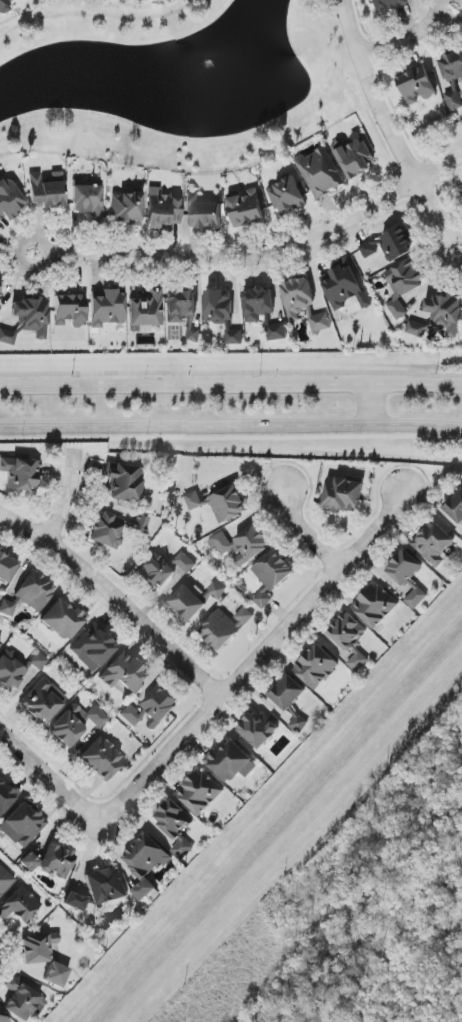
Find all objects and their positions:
building: (389, 5)
building: (3, 7)
road: (100, 17)
road: (340, 23)
road: (362, 27)
road: (408, 38)
fountain: (208, 68)
building: (453, 79)
building: (416, 85)
road: (356, 97)
road: (388, 131)
road: (437, 155)
building: (354, 156)
road: (439, 169)
building: (320, 172)
building: (46, 191)
building: (286, 195)
building: (88, 200)
building: (9, 201)
building: (245, 207)
building: (126, 209)
building: (162, 210)
building: (202, 213)
building: (396, 244)
building: (371, 247)
road: (234, 262)
building: (403, 284)
building: (345, 286)
building: (0, 297)
building: (298, 298)
building: (107, 307)
building: (69, 310)
building: (147, 310)
building: (263, 311)
building: (445, 313)
building: (183, 314)
building: (222, 314)
building: (28, 321)
building: (320, 322)
building: (415, 328)
road: (231, 391)
road: (231, 433)
building: (21, 474)
building: (125, 483)
building: (343, 493)
road: (65, 499)
building: (228, 504)
building: (456, 507)
road: (343, 513)
building: (140, 524)
building: (107, 531)
building: (434, 543)
building: (242, 544)
building: (7, 568)
building: (164, 569)
building: (271, 576)
building: (408, 577)
building: (217, 590)
building: (34, 592)
road: (113, 598)
building: (188, 603)
building: (375, 605)
building: (7, 608)
building: (64, 620)
building: (224, 627)
building: (350, 639)
building: (0, 643)
building: (93, 648)
road: (252, 657)
building: (38, 662)
building: (316, 667)
building: (11, 671)
building: (124, 674)
building: (288, 693)
building: (43, 702)
building: (152, 709)
building: (76, 724)
building: (298, 724)
building: (258, 730)
building: (102, 760)
building: (231, 762)
road: (50, 775)
building: (200, 793)
building: (5, 798)
building: (23, 825)
building: (176, 826)
building: (57, 862)
building: (29, 863)
building: (146, 864)
building: (5, 881)
building: (105, 886)
building: (75, 902)
building: (19, 906)
building: (38, 949)
building: (56, 976)
building: (23, 1001)
building: (3, 1018)

